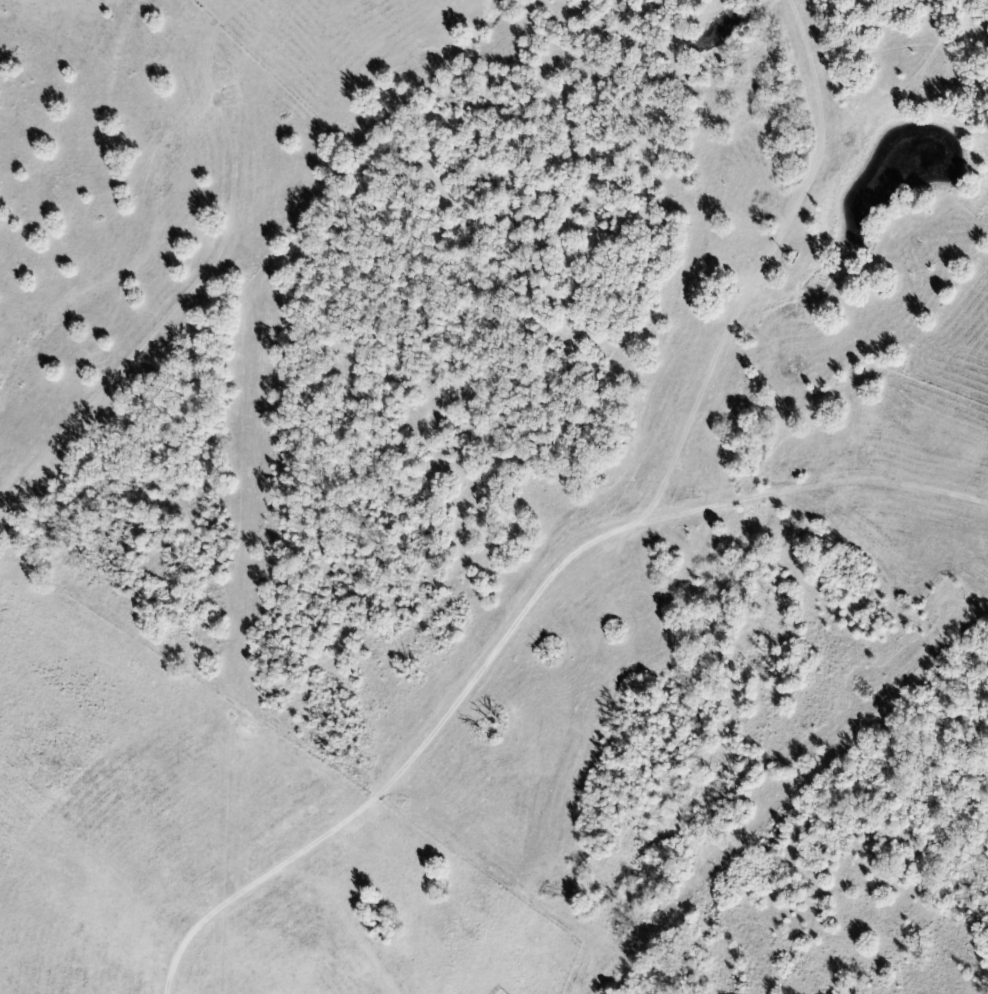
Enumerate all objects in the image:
road: (814, 77)
road: (780, 236)
road: (484, 666)

